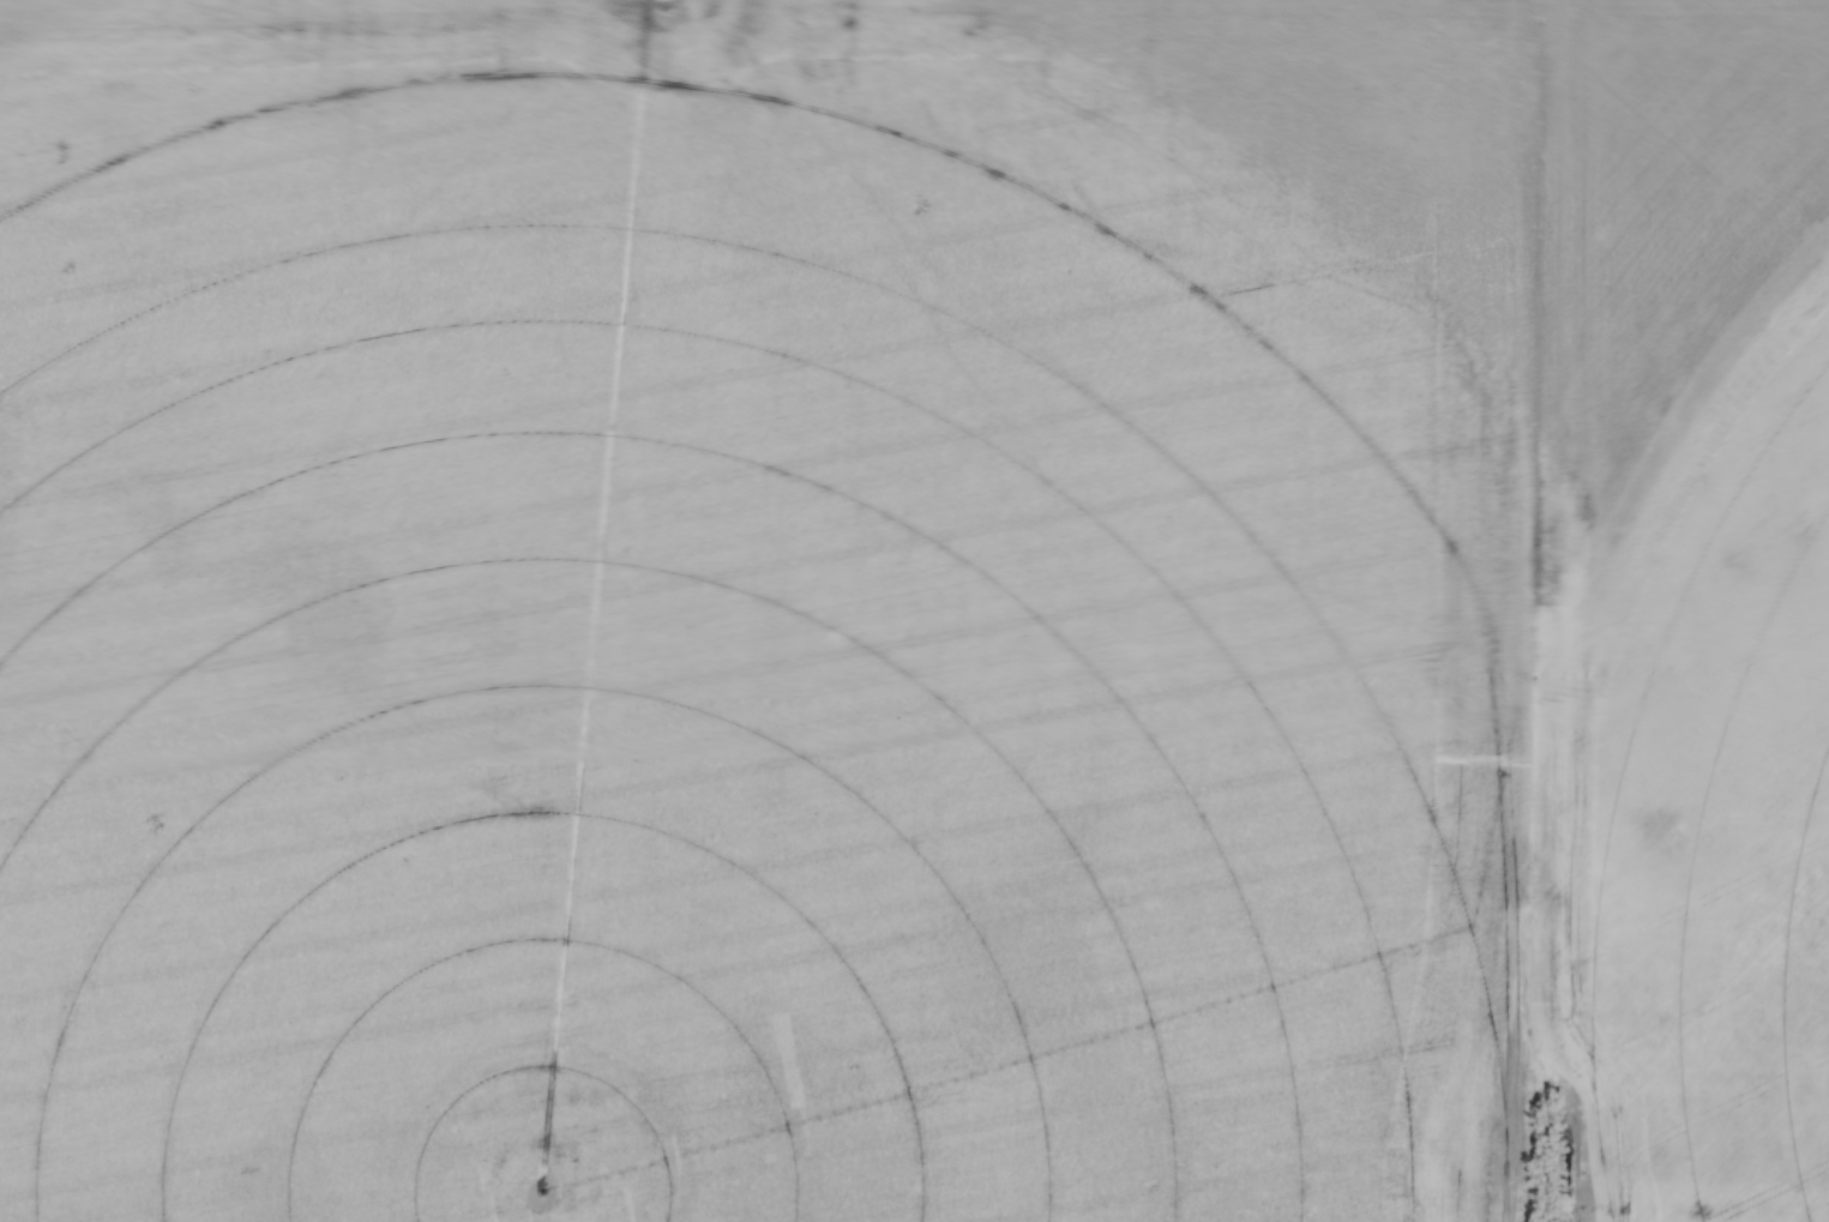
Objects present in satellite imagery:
crop: (914, 610)

